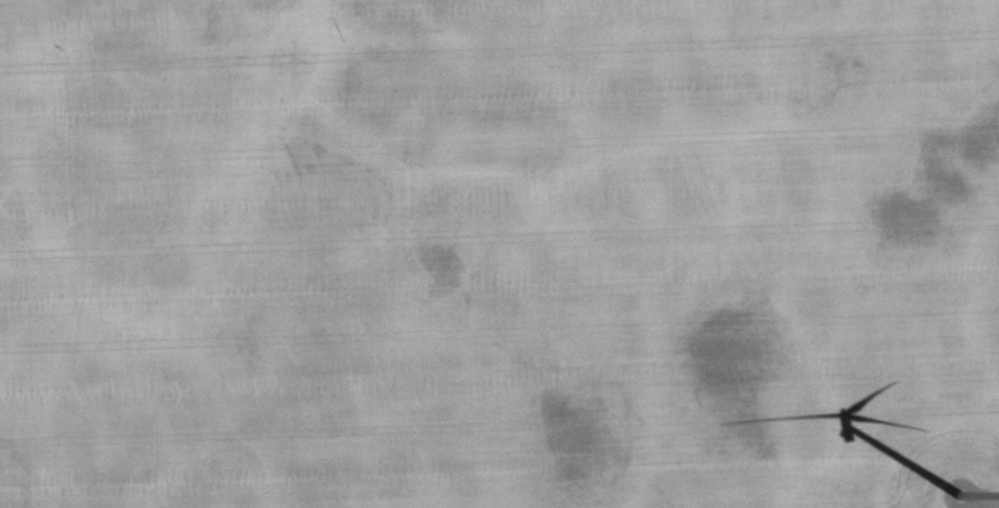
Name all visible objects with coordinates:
wind turbine: (944, 501)
road: (993, 505)

